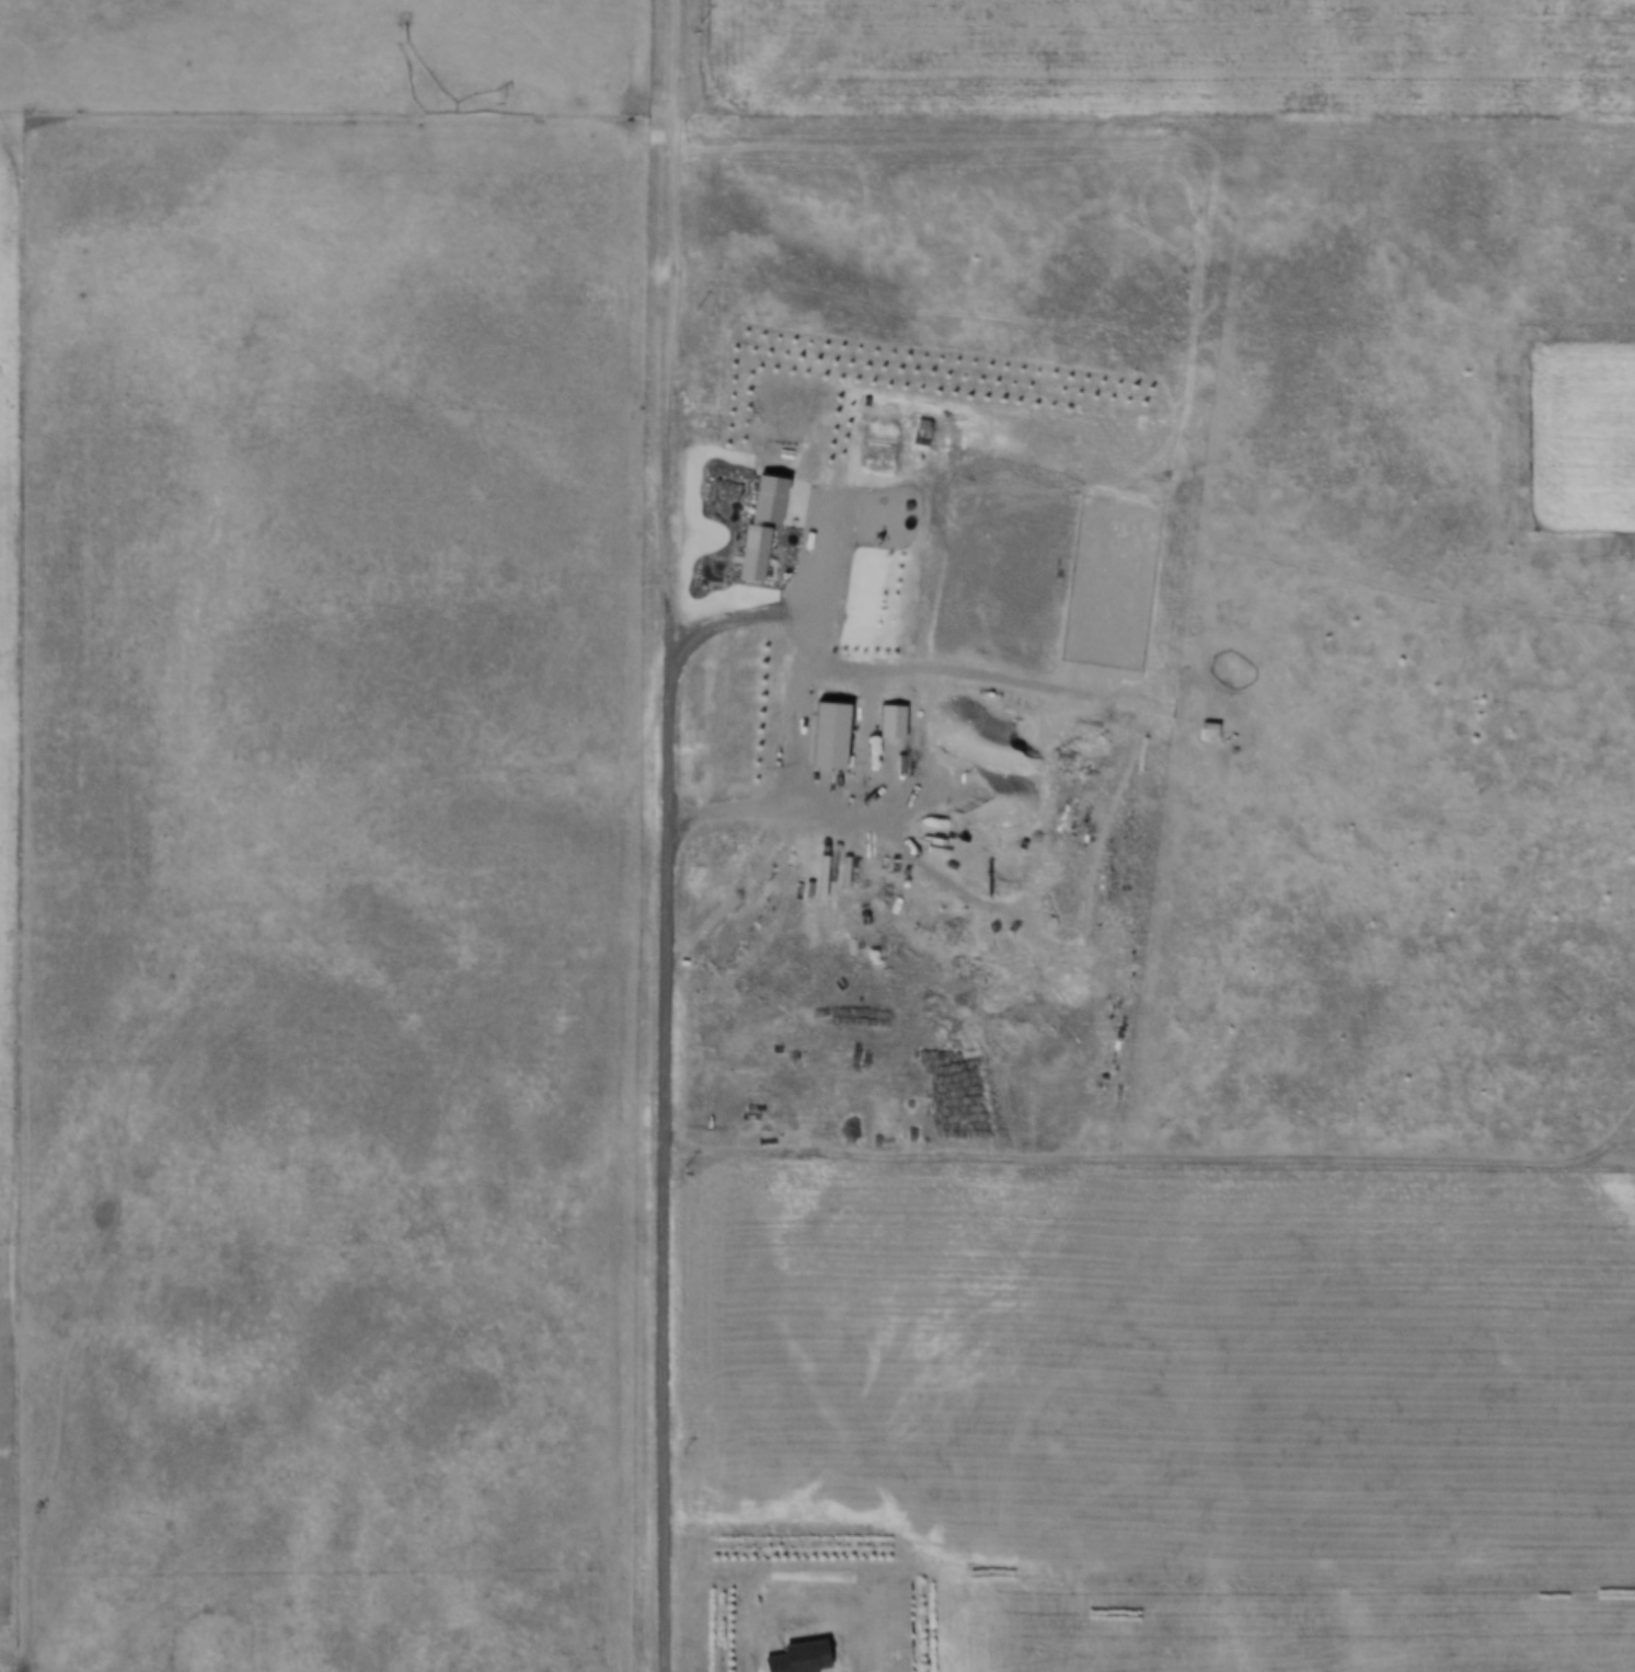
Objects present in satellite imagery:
road: (673, 327)
building: (765, 523)
road: (659, 1163)
building: (805, 1658)

